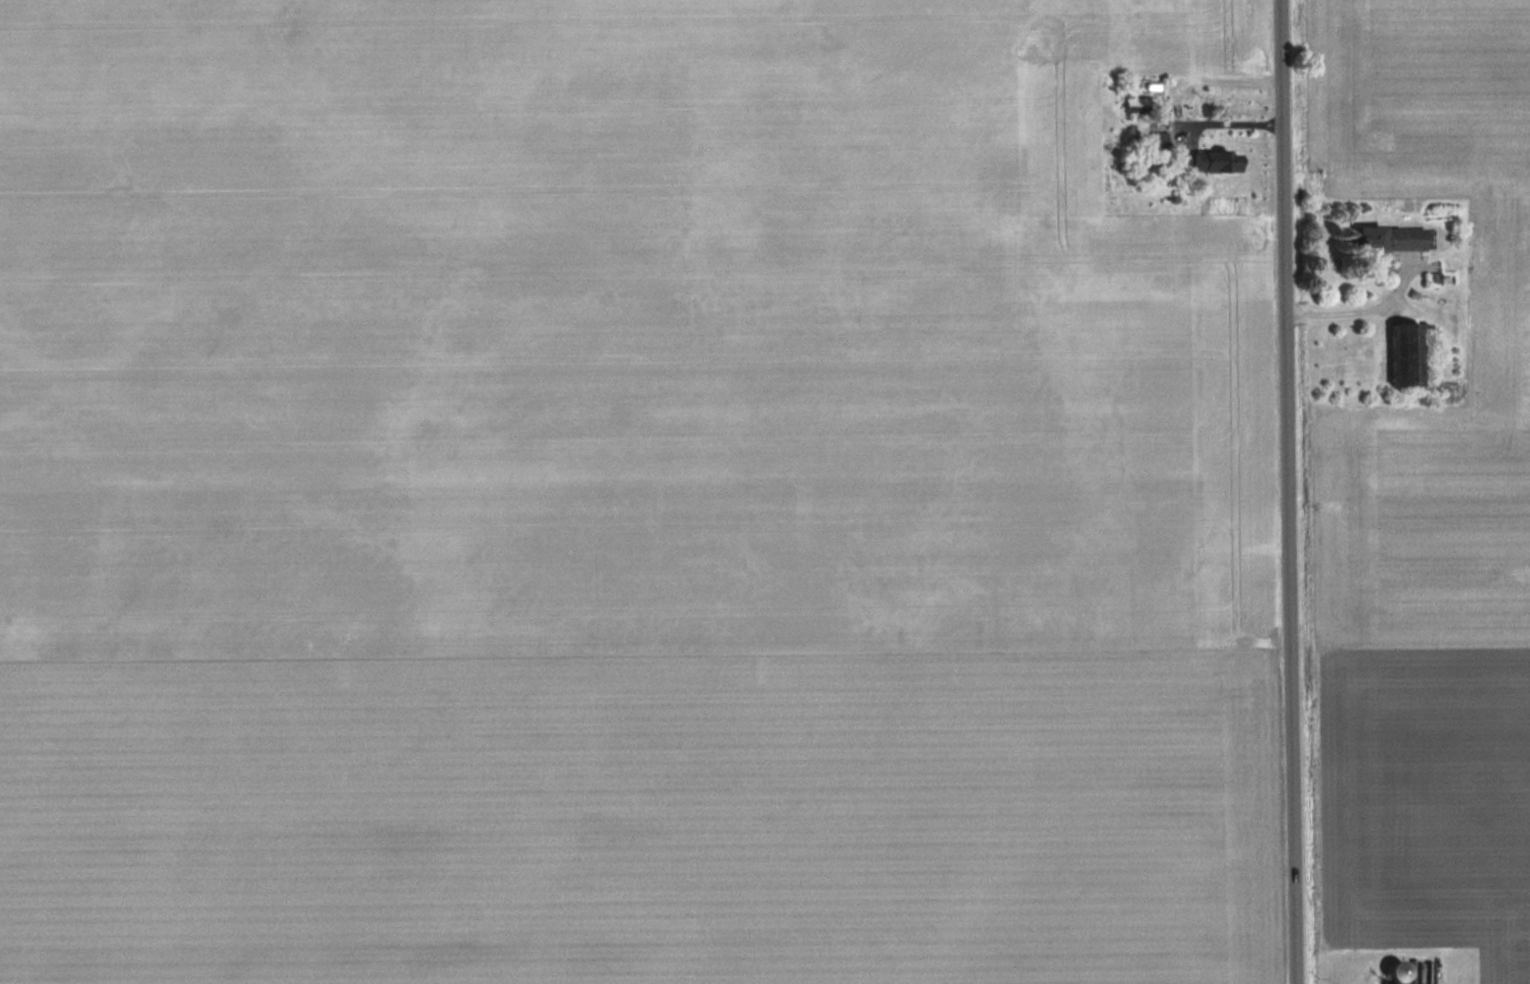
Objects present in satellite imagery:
building: (1218, 161)
building: (1394, 237)
road: (1342, 307)
building: (1412, 355)
road: (1292, 492)
building: (1401, 969)

